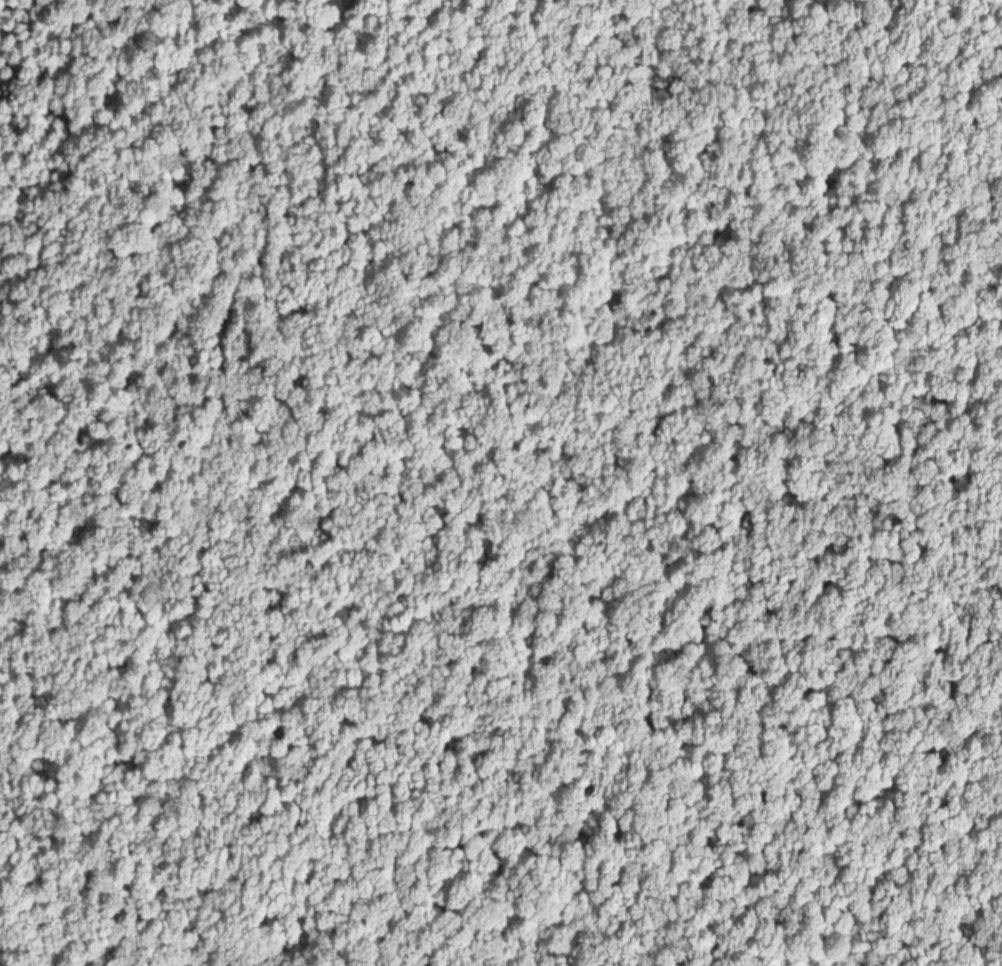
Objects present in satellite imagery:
road: (486, 572)

